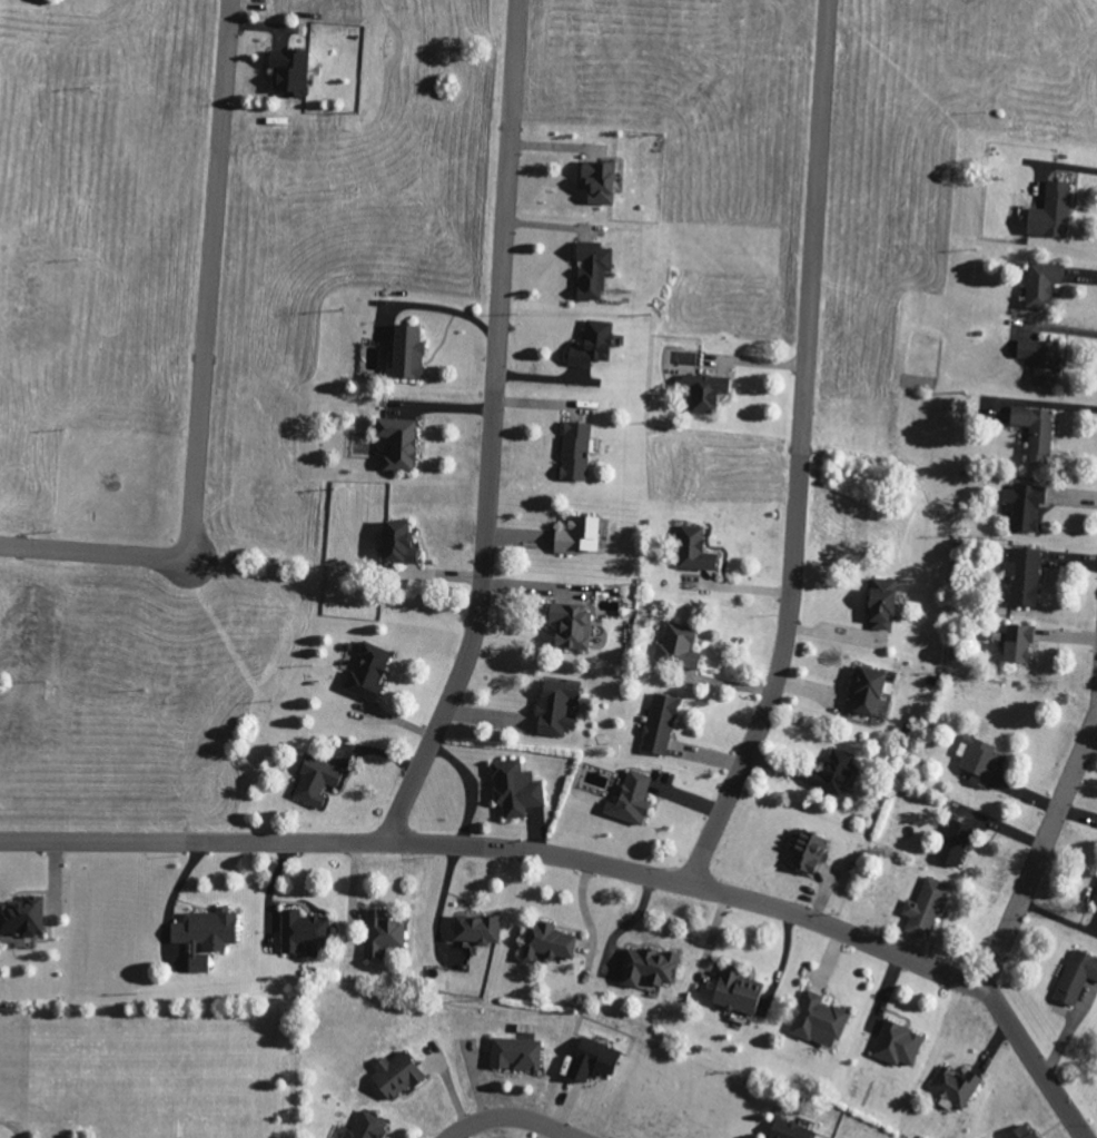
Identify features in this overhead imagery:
building: (287, 71)
building: (596, 182)
building: (1049, 211)
building: (590, 269)
building: (1040, 284)
building: (590, 344)
building: (406, 353)
building: (1040, 360)
road: (200, 373)
building: (702, 390)
road: (491, 431)
building: (1034, 432)
building: (396, 444)
road: (799, 451)
building: (573, 452)
building: (1022, 506)
building: (574, 533)
building: (395, 542)
building: (693, 550)
building: (1022, 575)
building: (881, 602)
building: (569, 624)
building: (1016, 642)
building: (676, 646)
building: (365, 670)
building: (866, 689)
building: (554, 706)
building: (658, 723)
building: (977, 759)
building: (830, 771)
building: (315, 780)
building: (513, 788)
building: (629, 796)
building: (952, 842)
road: (503, 847)
building: (803, 850)
road: (1040, 851)
road: (442, 897)
building: (925, 907)
building: (1096, 907)
building: (21, 917)
building: (474, 928)
building: (302, 930)
building: (381, 932)
building: (204, 934)
building: (545, 941)
building: (645, 967)
building: (1075, 976)
building: (735, 991)
building: (817, 1019)
building: (896, 1043)
building: (514, 1053)
building: (591, 1059)
road: (1034, 1063)
park: (150, 1068)
building: (393, 1073)
road: (511, 1116)
building: (365, 1126)
building: (787, 1129)
building: (1020, 1131)

